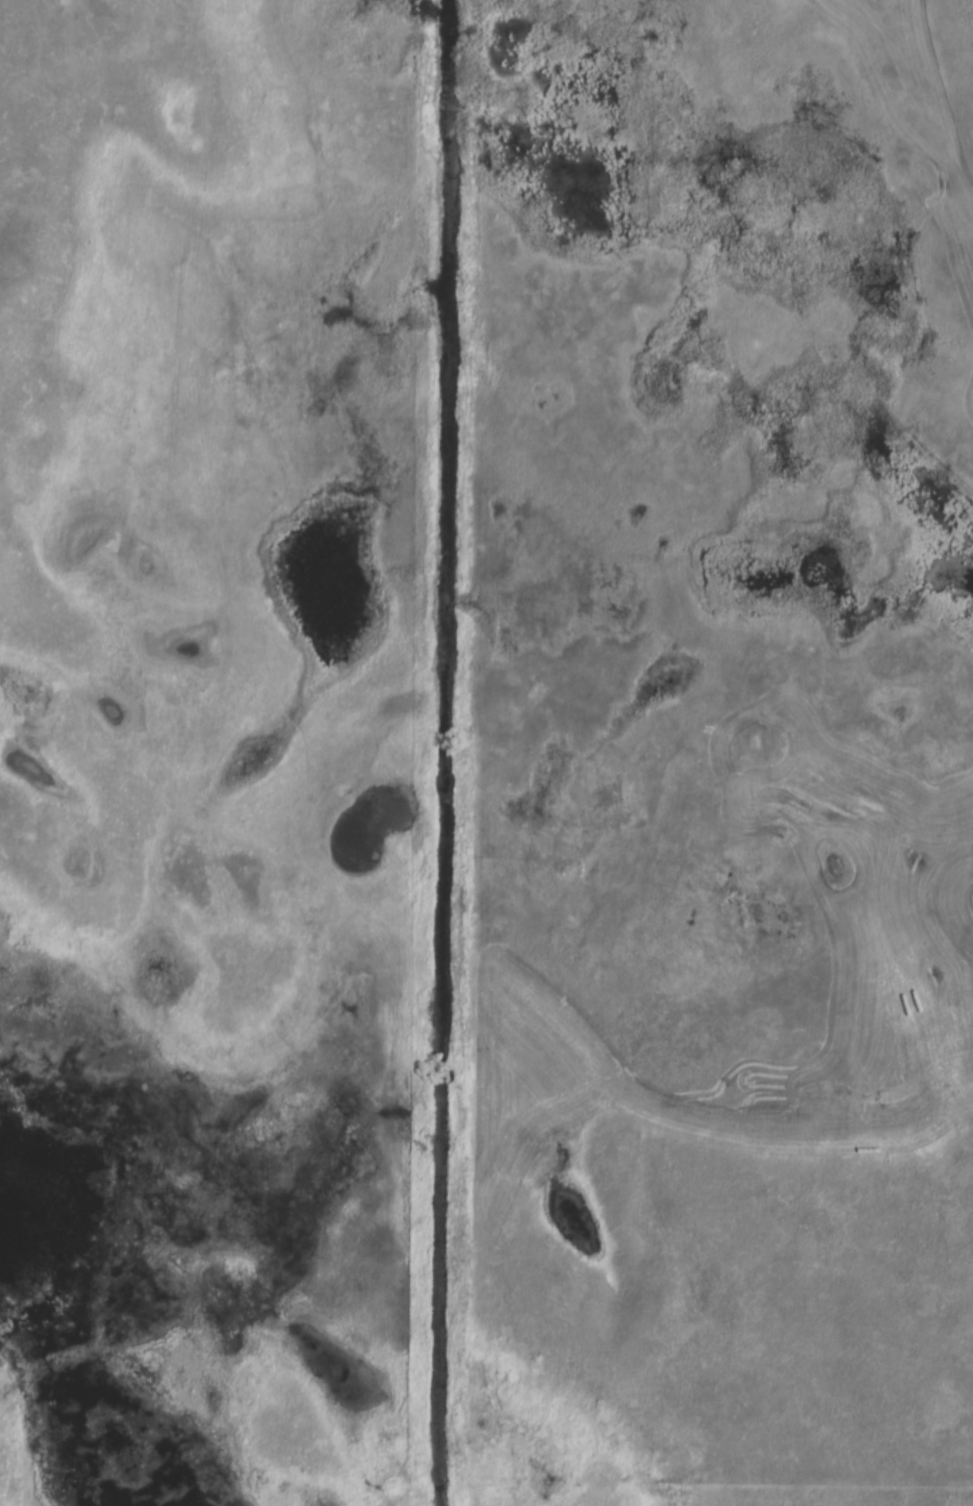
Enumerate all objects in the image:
airport runway: (909, 38)

